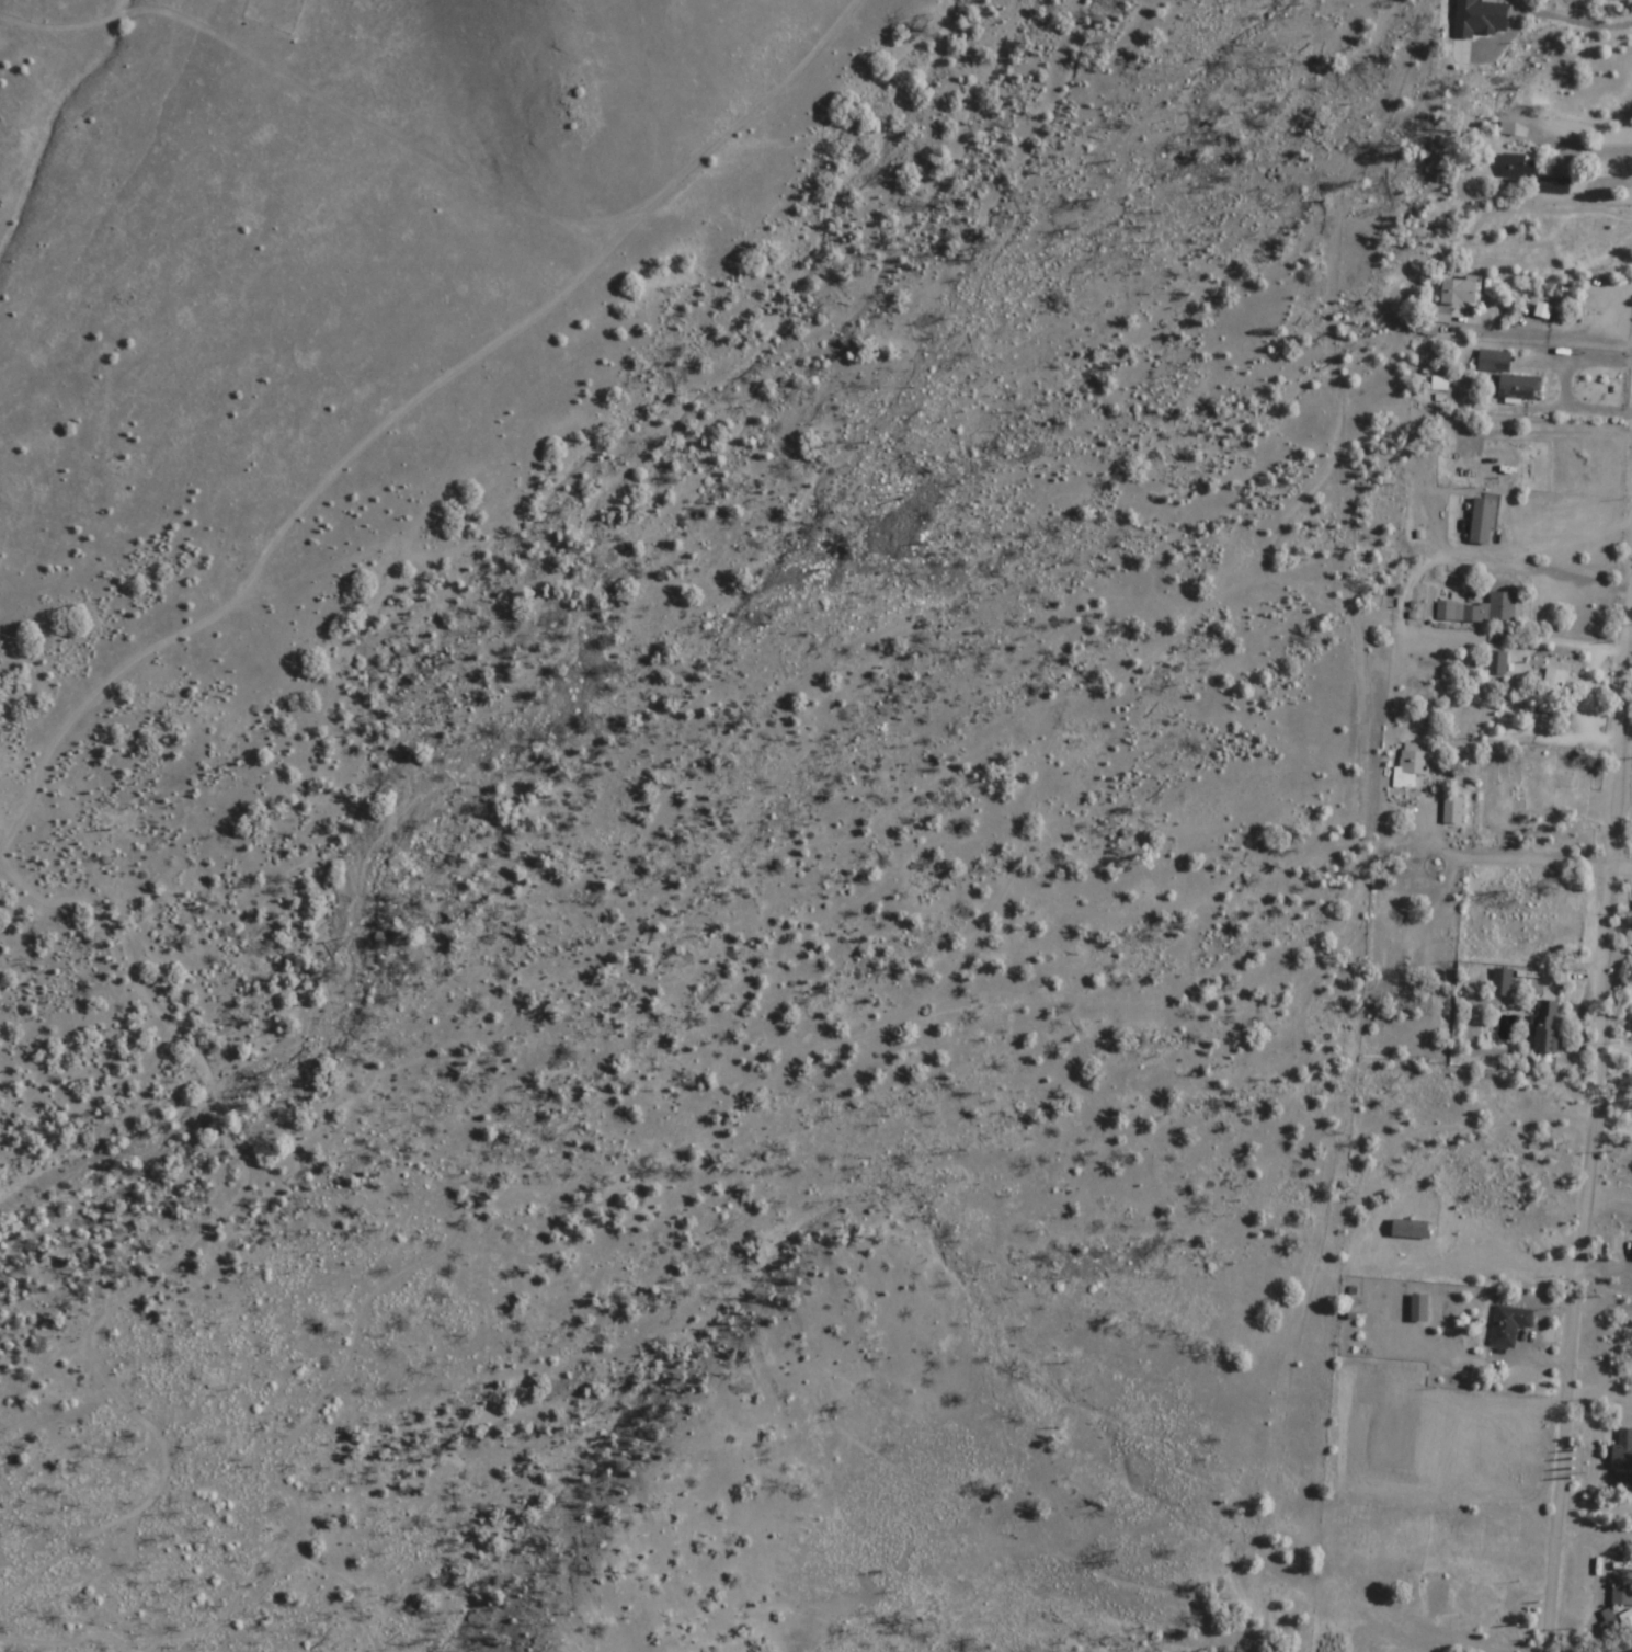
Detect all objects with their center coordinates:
building: (1465, 20)
building: (1517, 167)
building: (1553, 186)
building: (1458, 292)
building: (1493, 362)
building: (1518, 388)
building: (1498, 470)
building: (1466, 471)
building: (1427, 517)
building: (1502, 607)
building: (1459, 613)
building: (1497, 662)
building: (1551, 687)
building: (1413, 765)
building: (1548, 782)
building: (1452, 810)
road: (1496, 864)
road: (1624, 880)
building: (1533, 889)
building: (1506, 930)
building: (1385, 943)
building: (1502, 982)
building: (1545, 1028)
road: (1598, 1137)
building: (1627, 1275)
building: (1508, 1324)
building: (1370, 1423)
building: (1622, 1460)
building: (1622, 1590)
building: (1442, 1593)
building: (1472, 1600)
building: (1609, 1621)
building: (1323, 1647)

